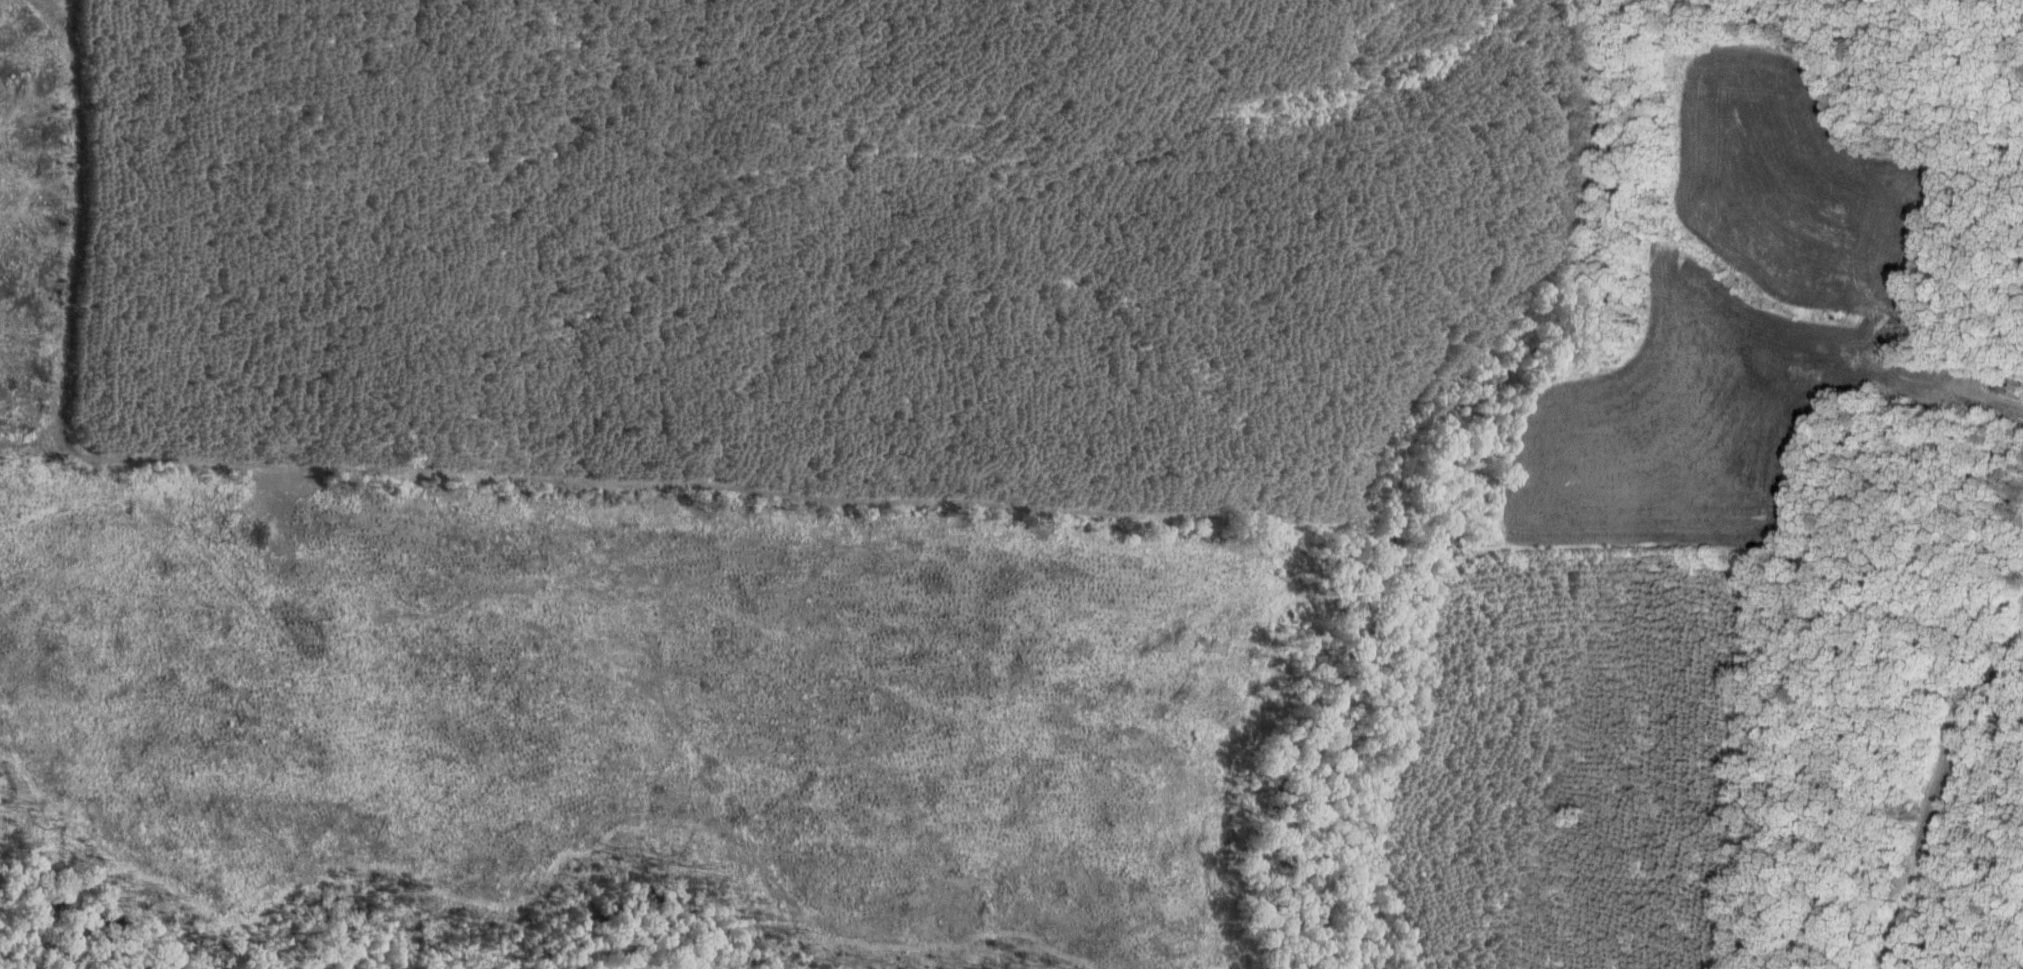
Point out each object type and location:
road: (2008, 713)

